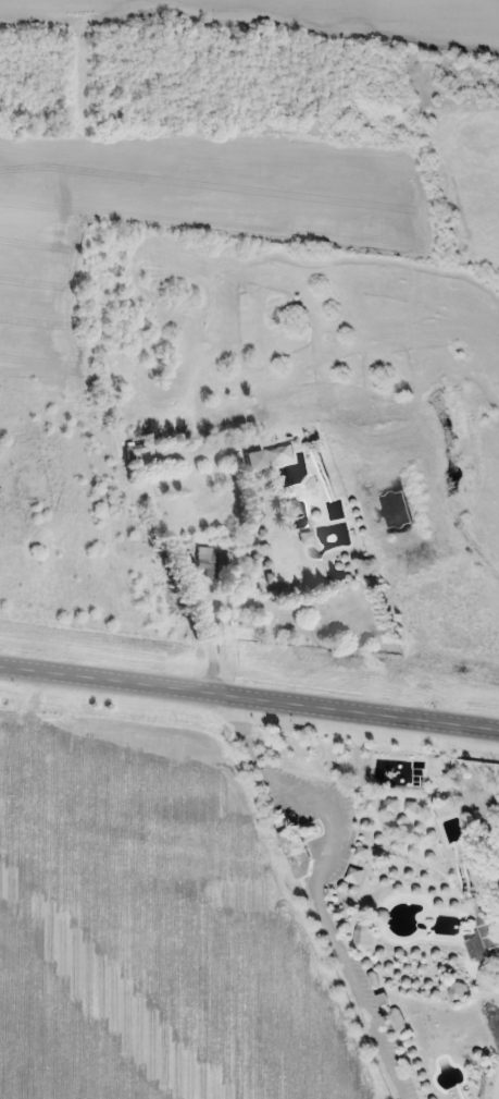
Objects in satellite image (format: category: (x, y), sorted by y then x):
road: (249, 701)

